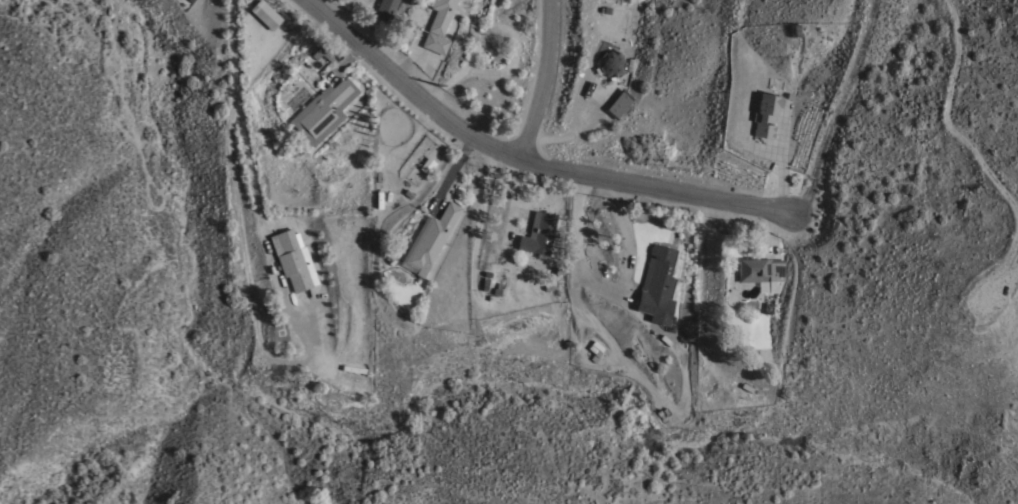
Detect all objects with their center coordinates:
building: (385, 9)
building: (264, 14)
building: (438, 26)
building: (321, 53)
building: (610, 63)
road: (545, 82)
building: (618, 103)
building: (323, 110)
building: (765, 115)
road: (248, 155)
road: (638, 186)
building: (538, 233)
building: (431, 238)
road: (577, 254)
building: (293, 260)
building: (759, 269)
building: (657, 284)

